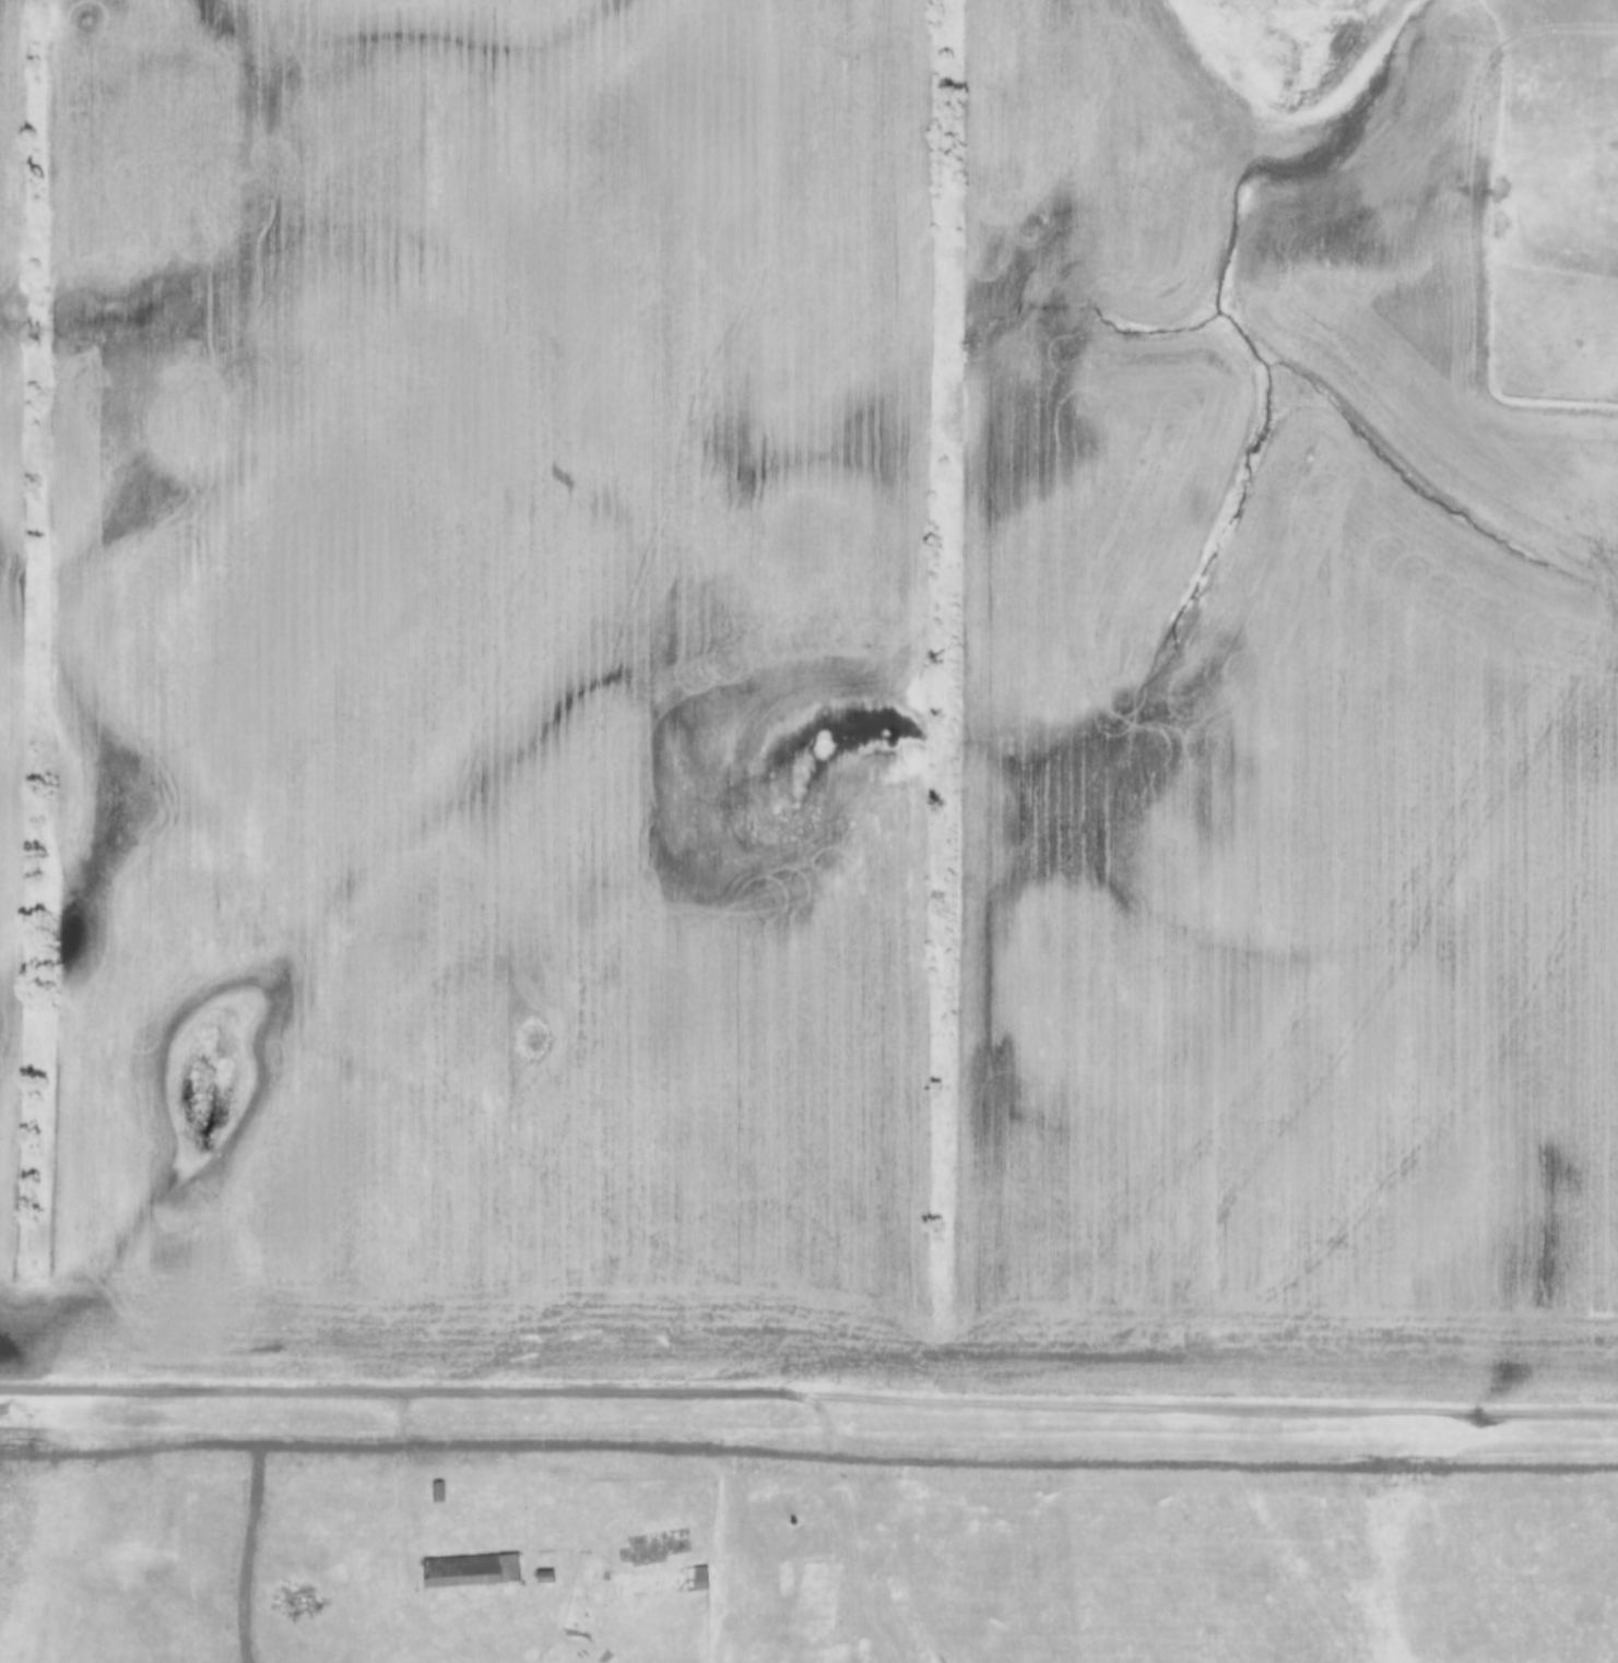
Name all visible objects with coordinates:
road: (411, 1395)
road: (1219, 1403)
building: (533, 1488)
building: (435, 1492)
building: (468, 1571)
building: (541, 1577)
building: (656, 1581)
building: (294, 1600)

